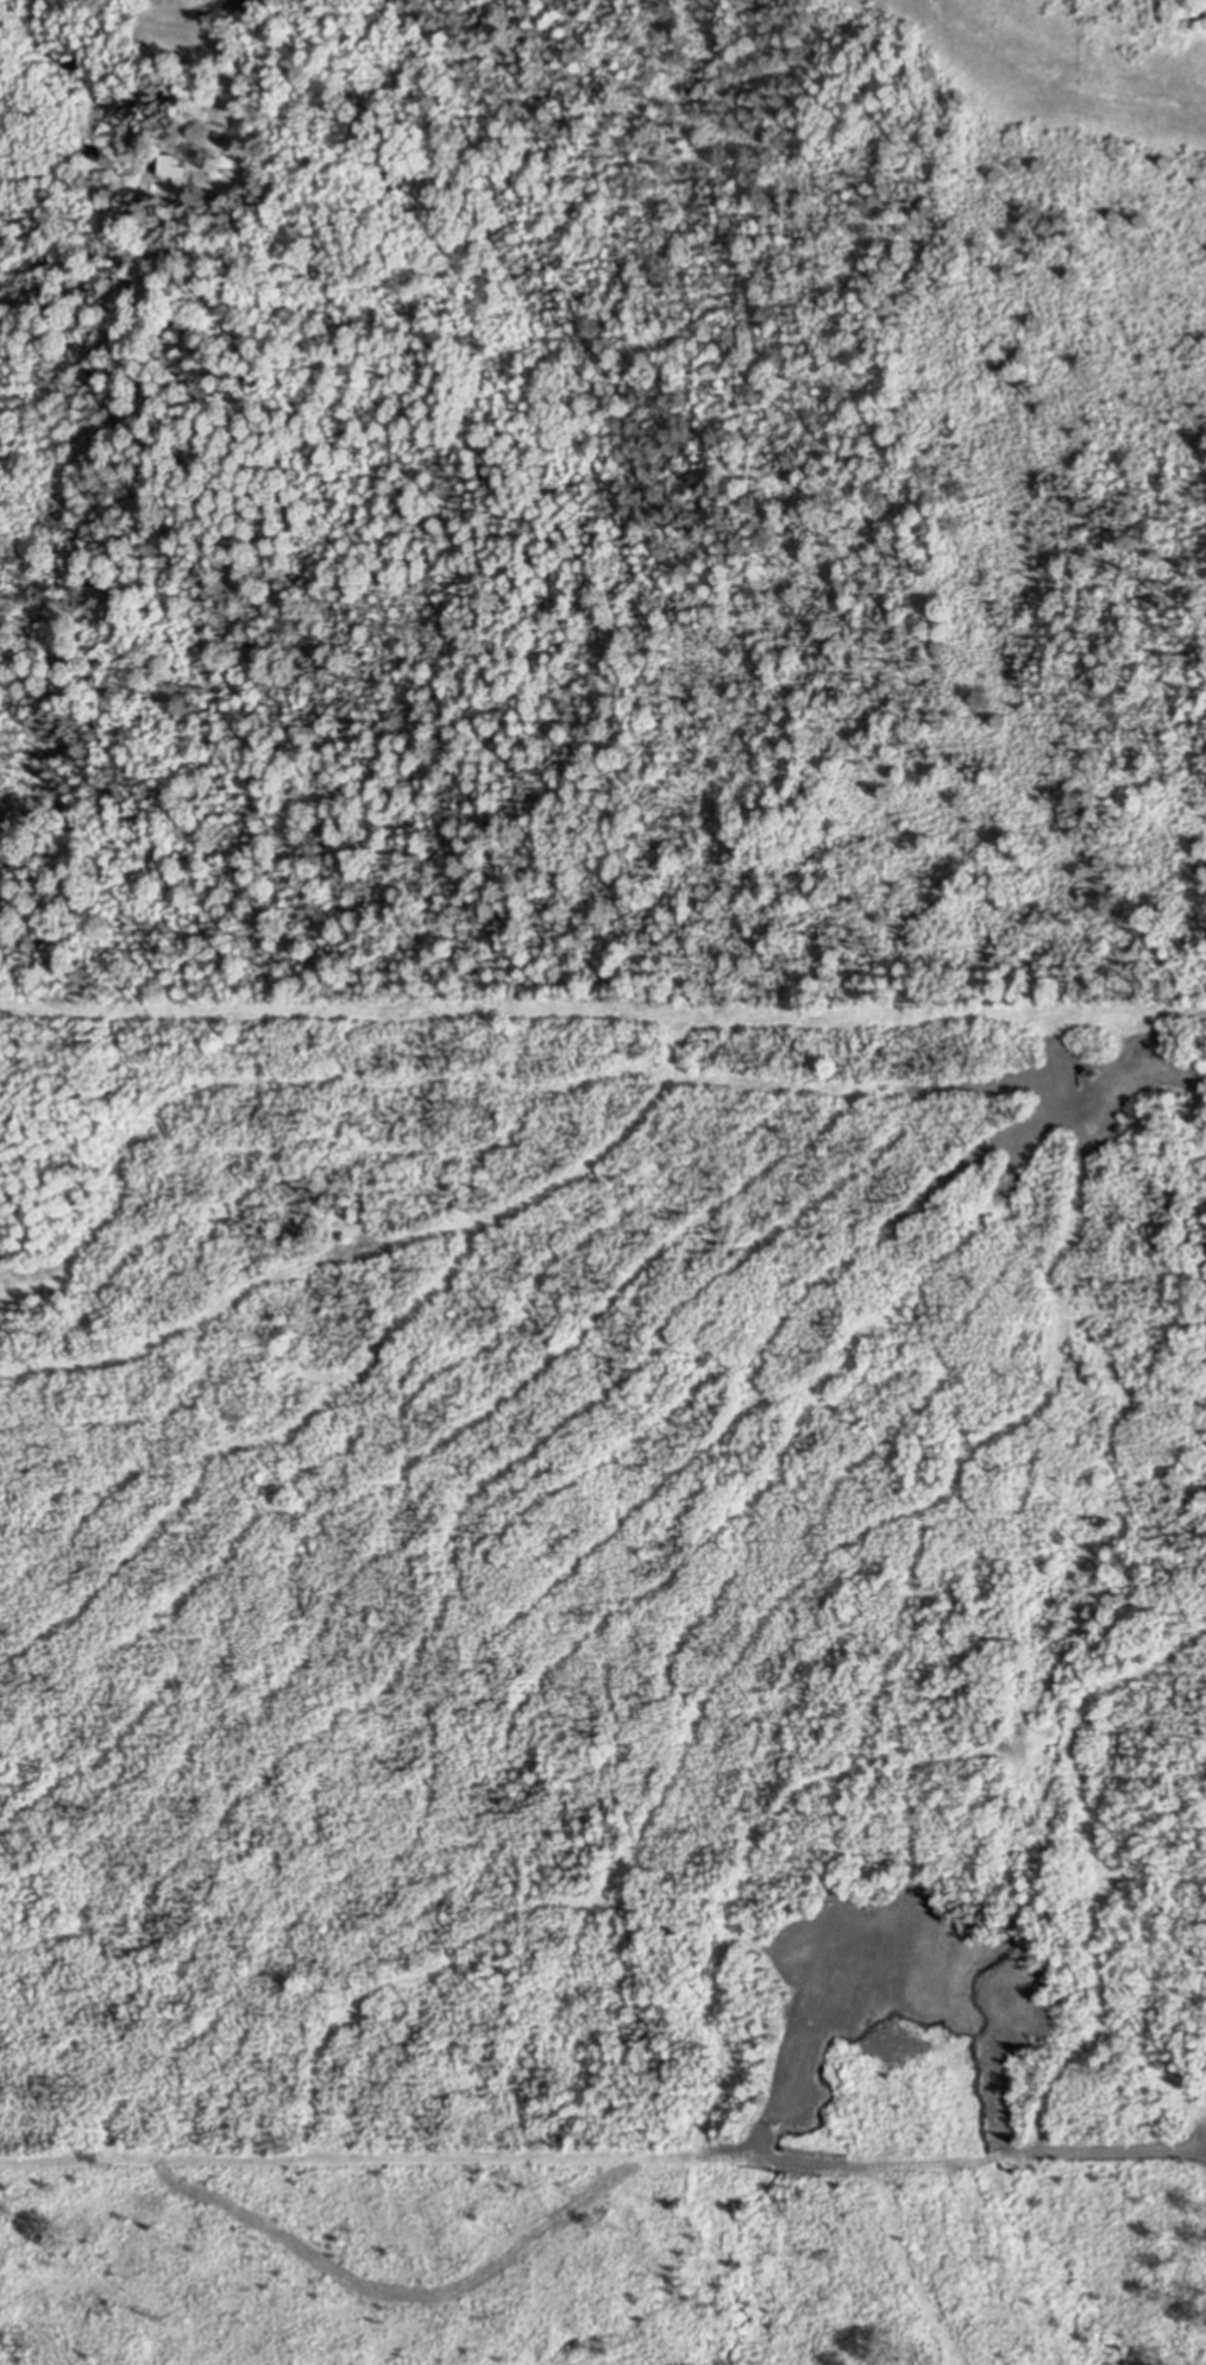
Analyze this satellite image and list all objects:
road: (218, 10)
river: (130, 136)
building: (177, 168)
river: (12, 382)

